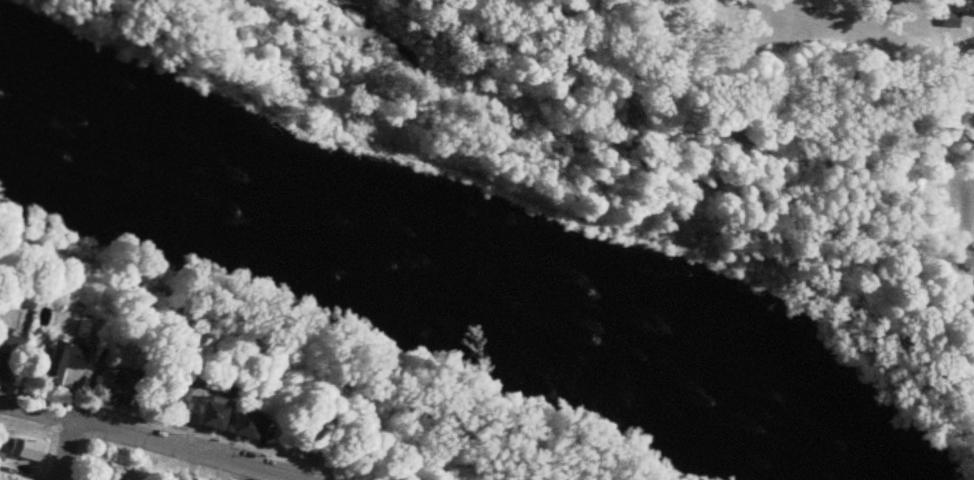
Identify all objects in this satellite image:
park: (910, 208)
river: (430, 278)
building: (119, 390)
building: (215, 414)
building: (252, 426)
road: (150, 442)
building: (25, 450)
building: (303, 450)
road: (62, 451)

